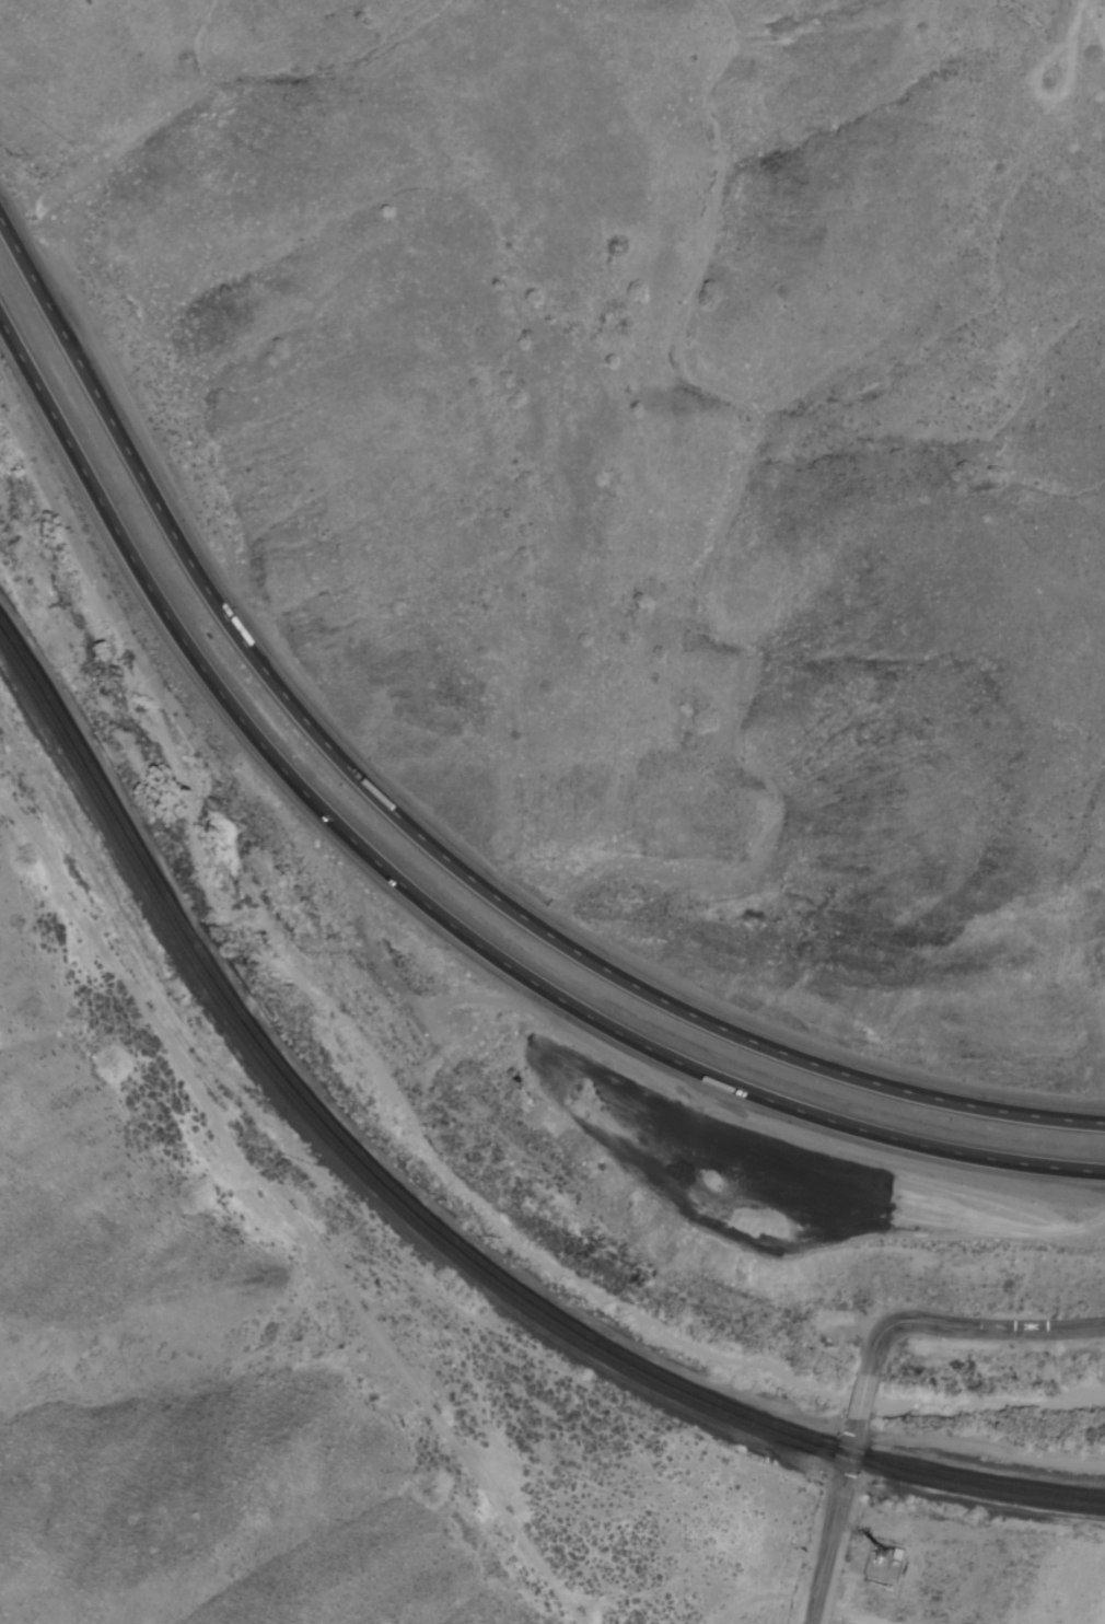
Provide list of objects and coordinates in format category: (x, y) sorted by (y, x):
road: (1074, 16)
road: (1046, 97)
road: (420, 838)
road: (430, 908)
railway: (430, 1221)
railway: (430, 1236)
road: (967, 1327)
road: (862, 1397)
road: (833, 1520)
building: (884, 1561)

